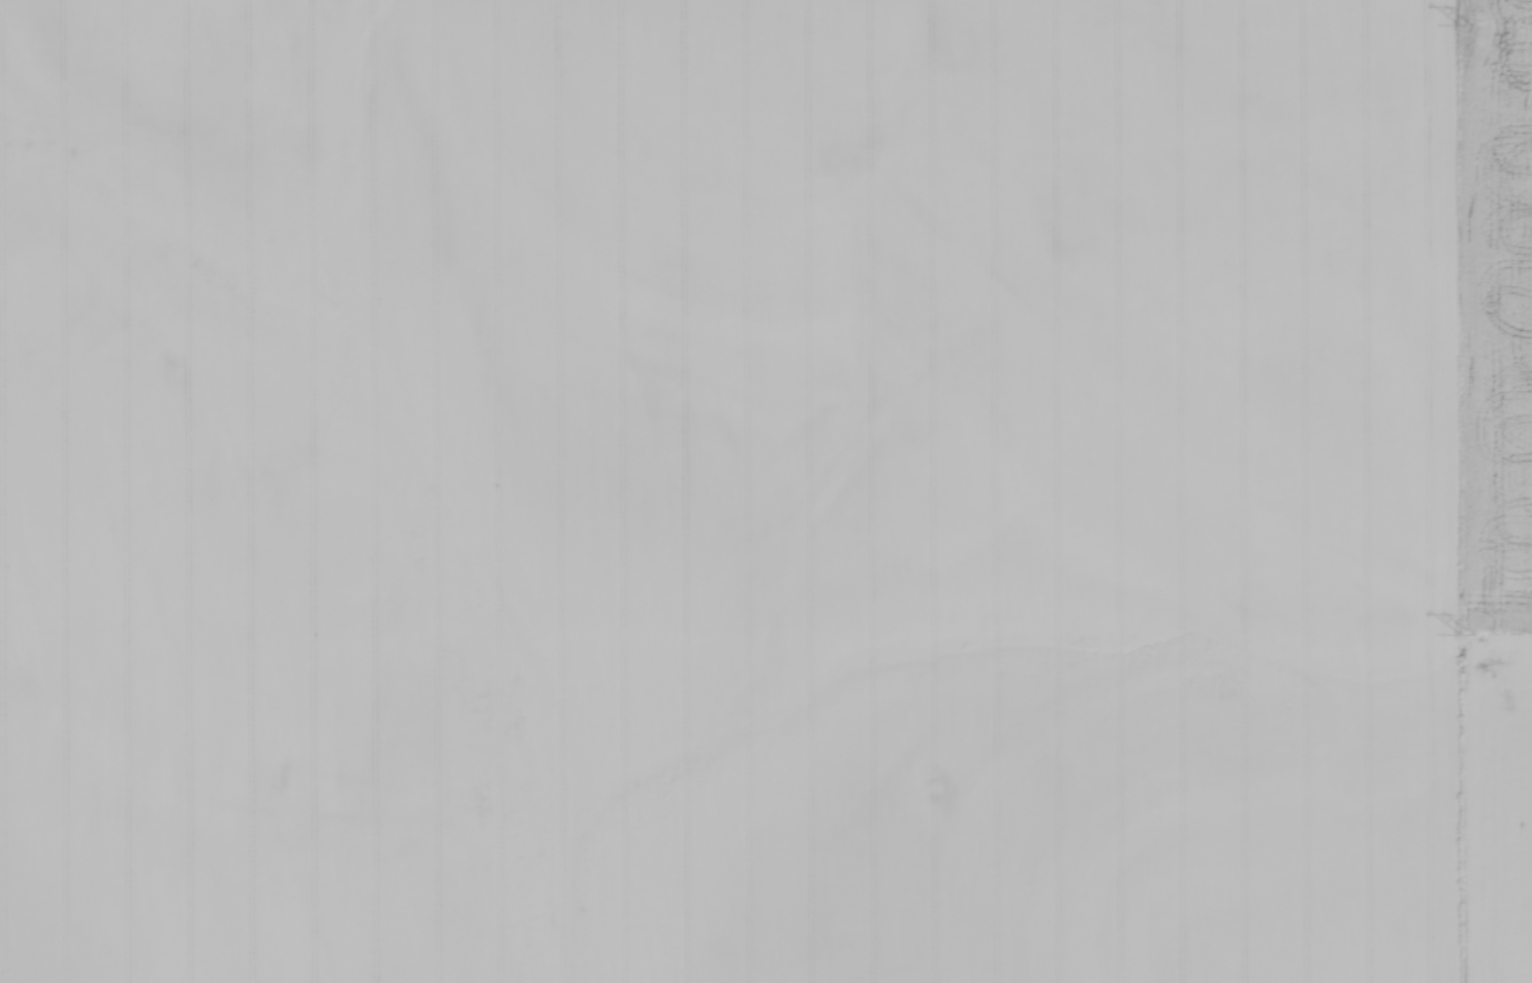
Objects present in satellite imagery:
power tower: (1463, 19)
power tower: (1465, 629)

